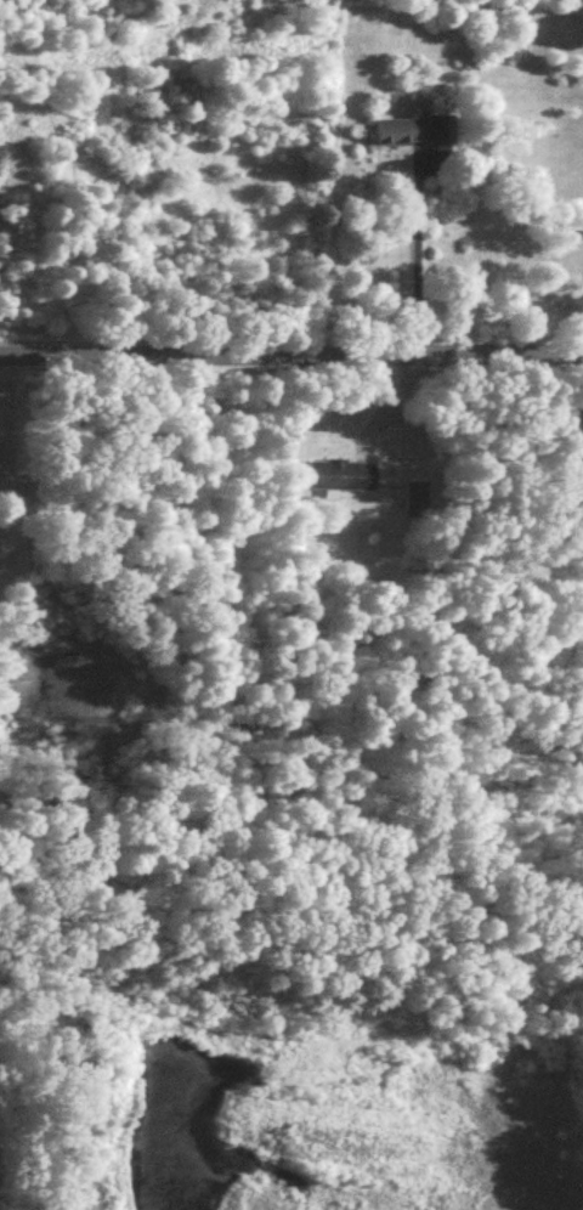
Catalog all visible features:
building: (413, 136)
road: (412, 256)
road: (291, 356)
building: (574, 467)
building: (341, 480)
building: (414, 504)

